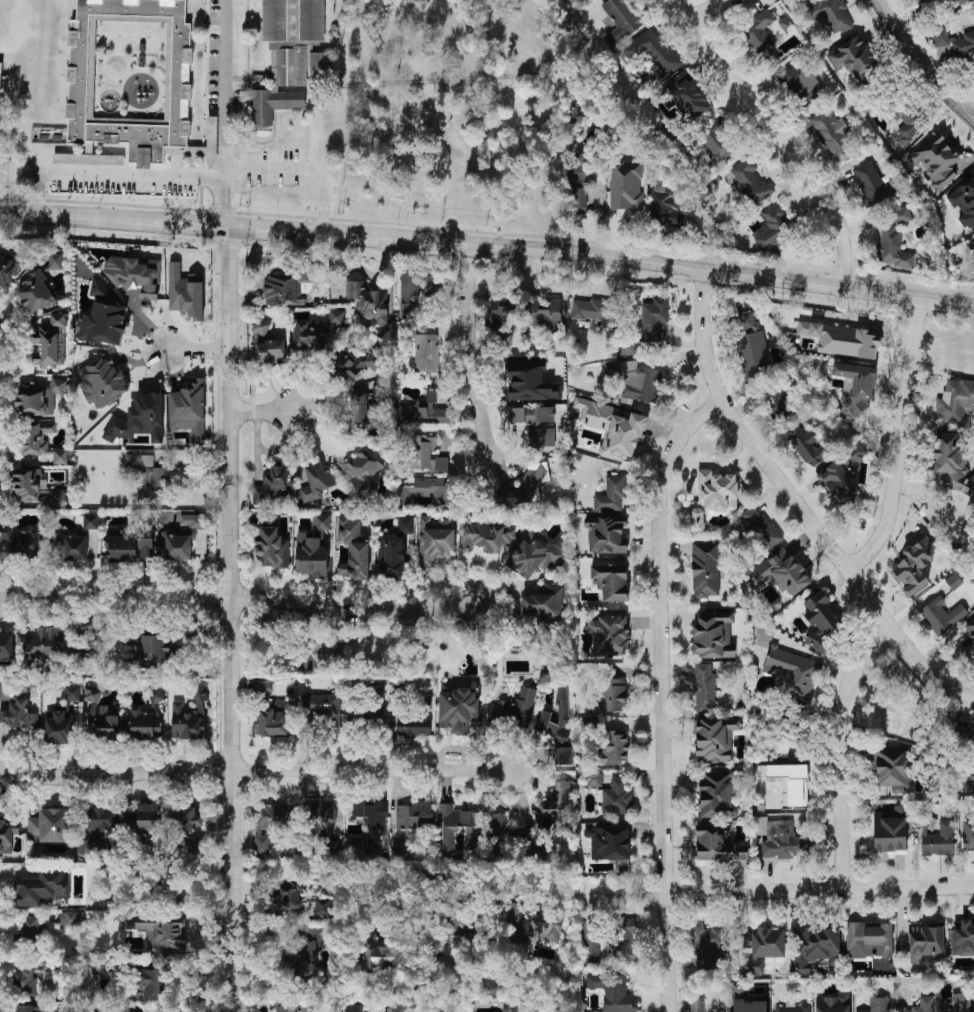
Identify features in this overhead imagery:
building: (582, 0)
road: (710, 9)
building: (831, 15)
building: (623, 19)
building: (762, 38)
building: (953, 43)
building: (653, 50)
building: (287, 54)
building: (855, 58)
road: (923, 61)
building: (320, 67)
building: (81, 70)
building: (1, 77)
building: (801, 82)
building: (690, 95)
road: (223, 113)
road: (973, 114)
building: (909, 122)
building: (831, 133)
road: (779, 136)
building: (717, 141)
building: (88, 158)
building: (936, 159)
road: (302, 166)
road: (131, 174)
building: (751, 181)
building: (873, 183)
building: (625, 184)
road: (37, 192)
building: (579, 199)
building: (965, 202)
building: (666, 207)
building: (901, 215)
road: (73, 217)
road: (187, 224)
building: (771, 227)
road: (267, 230)
building: (971, 244)
building: (895, 248)
building: (55, 260)
road: (641, 260)
building: (10, 267)
building: (135, 274)
building: (288, 287)
building: (413, 291)
building: (185, 292)
building: (37, 293)
building: (368, 300)
building: (598, 311)
building: (527, 312)
building: (102, 317)
building: (654, 318)
building: (317, 332)
building: (843, 338)
building: (50, 342)
building: (266, 344)
building: (752, 346)
building: (627, 347)
road: (198, 349)
road: (469, 350)
building: (426, 352)
building: (355, 365)
building: (530, 380)
building: (636, 380)
road: (668, 380)
building: (102, 382)
building: (856, 385)
building: (38, 396)
building: (955, 400)
building: (778, 405)
building: (189, 409)
building: (362, 409)
road: (262, 411)
building: (423, 411)
building: (139, 419)
building: (537, 424)
building: (613, 427)
building: (41, 441)
road: (903, 442)
building: (810, 447)
building: (418, 451)
building: (363, 463)
building: (441, 463)
building: (952, 468)
building: (842, 472)
building: (149, 473)
building: (316, 481)
building: (28, 483)
building: (272, 483)
building: (526, 485)
building: (421, 489)
building: (454, 492)
building: (612, 493)
building: (58, 496)
building: (713, 496)
road: (798, 501)
building: (90, 521)
building: (760, 527)
building: (7, 531)
building: (607, 534)
building: (487, 536)
building: (182, 537)
building: (271, 541)
building: (435, 541)
building: (29, 543)
building: (71, 546)
building: (129, 546)
building: (312, 548)
building: (352, 548)
building: (393, 550)
building: (536, 553)
building: (913, 567)
building: (705, 569)
building: (780, 572)
building: (953, 581)
building: (611, 582)
road: (239, 595)
building: (544, 604)
building: (941, 615)
building: (822, 618)
road: (232, 619)
building: (971, 631)
building: (713, 633)
building: (609, 635)
building: (132, 639)
building: (47, 643)
building: (6, 647)
building: (156, 647)
building: (87, 651)
building: (312, 654)
building: (793, 672)
building: (703, 686)
building: (263, 687)
building: (611, 690)
building: (7, 691)
building: (72, 692)
building: (92, 693)
building: (153, 696)
road: (664, 696)
building: (323, 708)
building: (370, 708)
building: (458, 708)
building: (513, 709)
building: (19, 715)
building: (189, 717)
building: (557, 717)
building: (900, 718)
building: (273, 719)
building: (416, 719)
building: (102, 722)
building: (146, 723)
building: (588, 726)
building: (59, 728)
building: (716, 738)
building: (615, 746)
road: (842, 750)
building: (564, 755)
building: (893, 765)
road: (371, 770)
road: (115, 777)
building: (595, 779)
building: (789, 782)
building: (718, 793)
building: (617, 798)
building: (561, 810)
building: (324, 814)
building: (414, 814)
building: (145, 820)
building: (371, 820)
building: (101, 822)
building: (48, 825)
building: (458, 826)
building: (189, 827)
building: (890, 829)
building: (8, 834)
building: (935, 834)
building: (968, 839)
building: (782, 840)
building: (608, 842)
building: (359, 844)
building: (717, 844)
building: (399, 848)
road: (359, 871)
building: (171, 886)
building: (42, 888)
road: (780, 891)
building: (287, 893)
building: (322, 906)
building: (457, 917)
building: (70, 919)
building: (538, 925)
building: (29, 928)
building: (963, 937)
building: (622, 939)
building: (869, 939)
building: (925, 940)
building: (591, 942)
building: (709, 946)
building: (763, 946)
building: (817, 946)
building: (305, 951)
building: (379, 954)
building: (103, 966)
building: (48, 968)
building: (24, 981)
building: (146, 982)
building: (613, 992)
building: (833, 1003)
building: (959, 1003)
building: (878, 1004)
building: (696, 1005)
building: (749, 1005)
building: (921, 1005)
building: (793, 1007)
building: (29, 1008)
building: (286, 1008)
building: (352, 1008)
building: (396, 1008)
building: (516, 1009)

